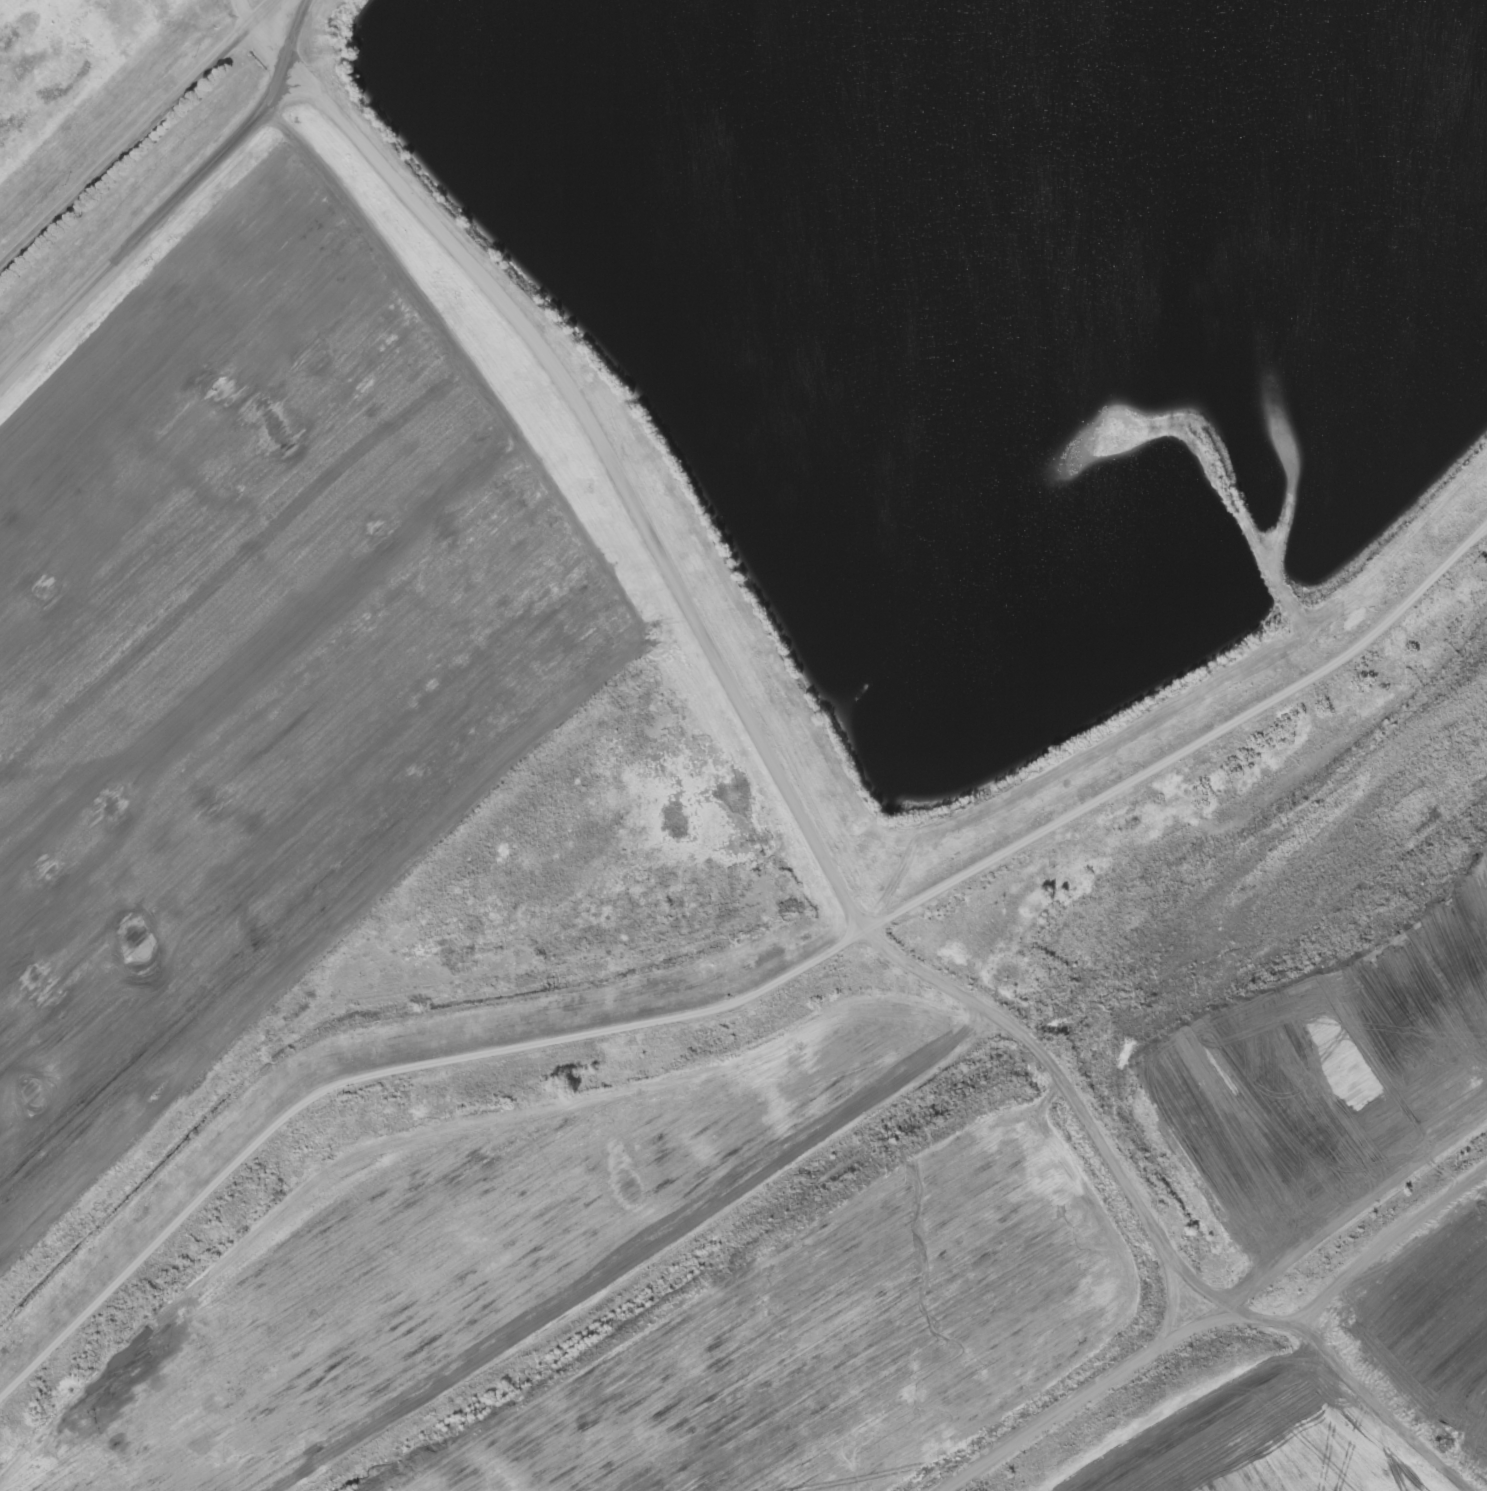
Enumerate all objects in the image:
road: (253, 13)
road: (276, 57)
road: (143, 142)
road: (146, 236)
road: (627, 475)
wastewater plant: (743, 745)
road: (746, 998)

